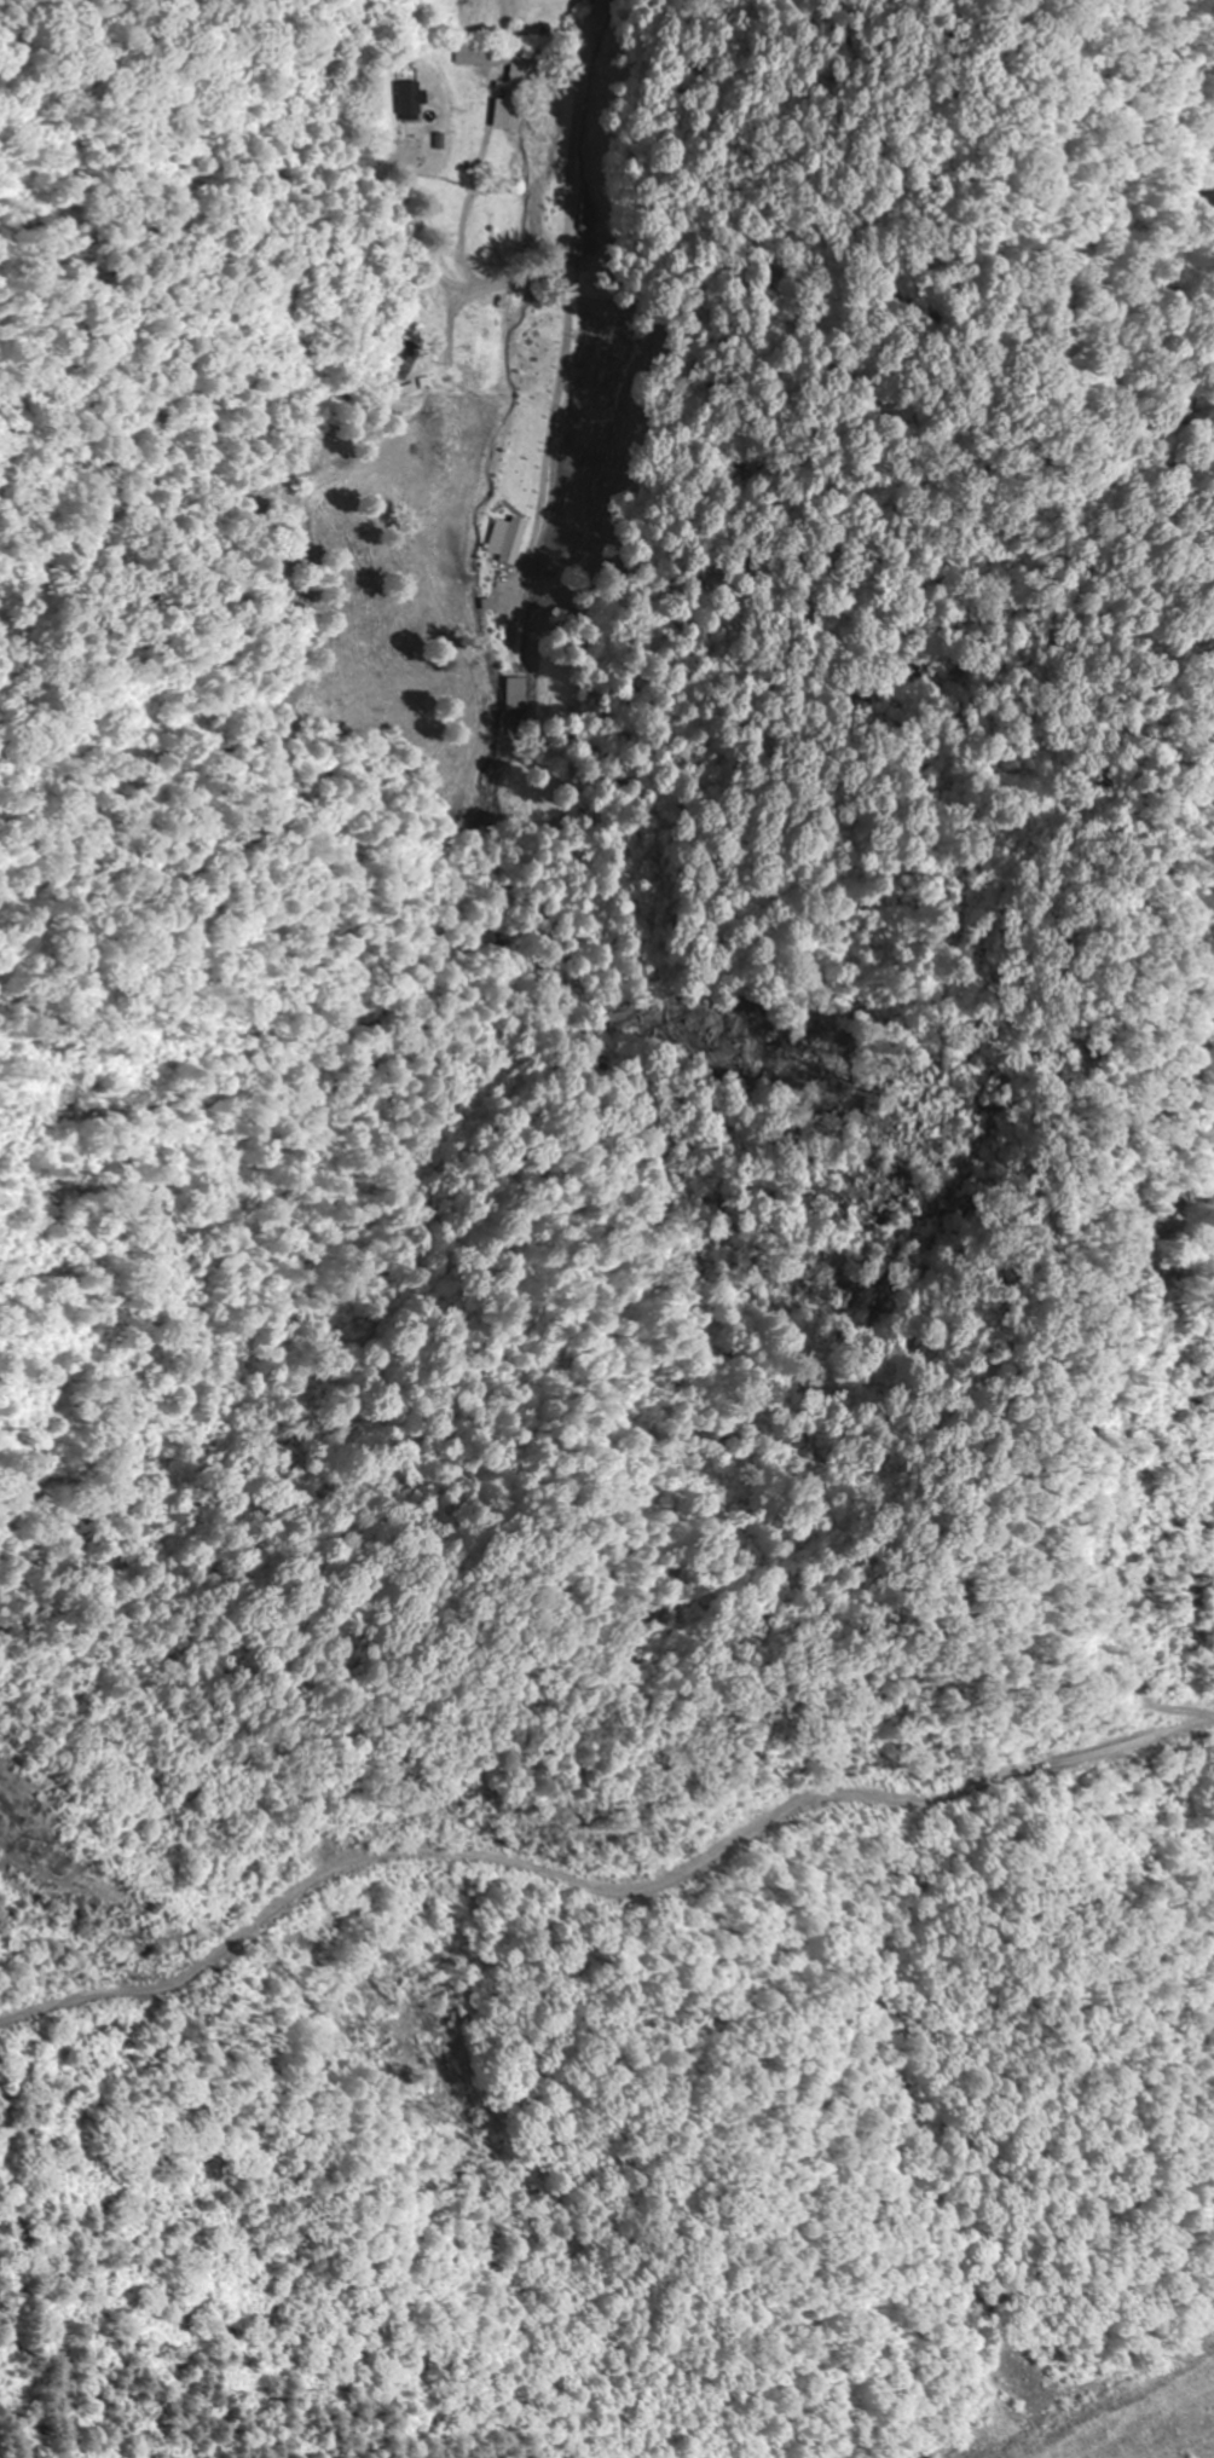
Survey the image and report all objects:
building: (577, 0)
building: (518, 77)
building: (414, 103)
road: (586, 291)
building: (410, 362)
building: (508, 539)
building: (515, 695)
road: (661, 775)

